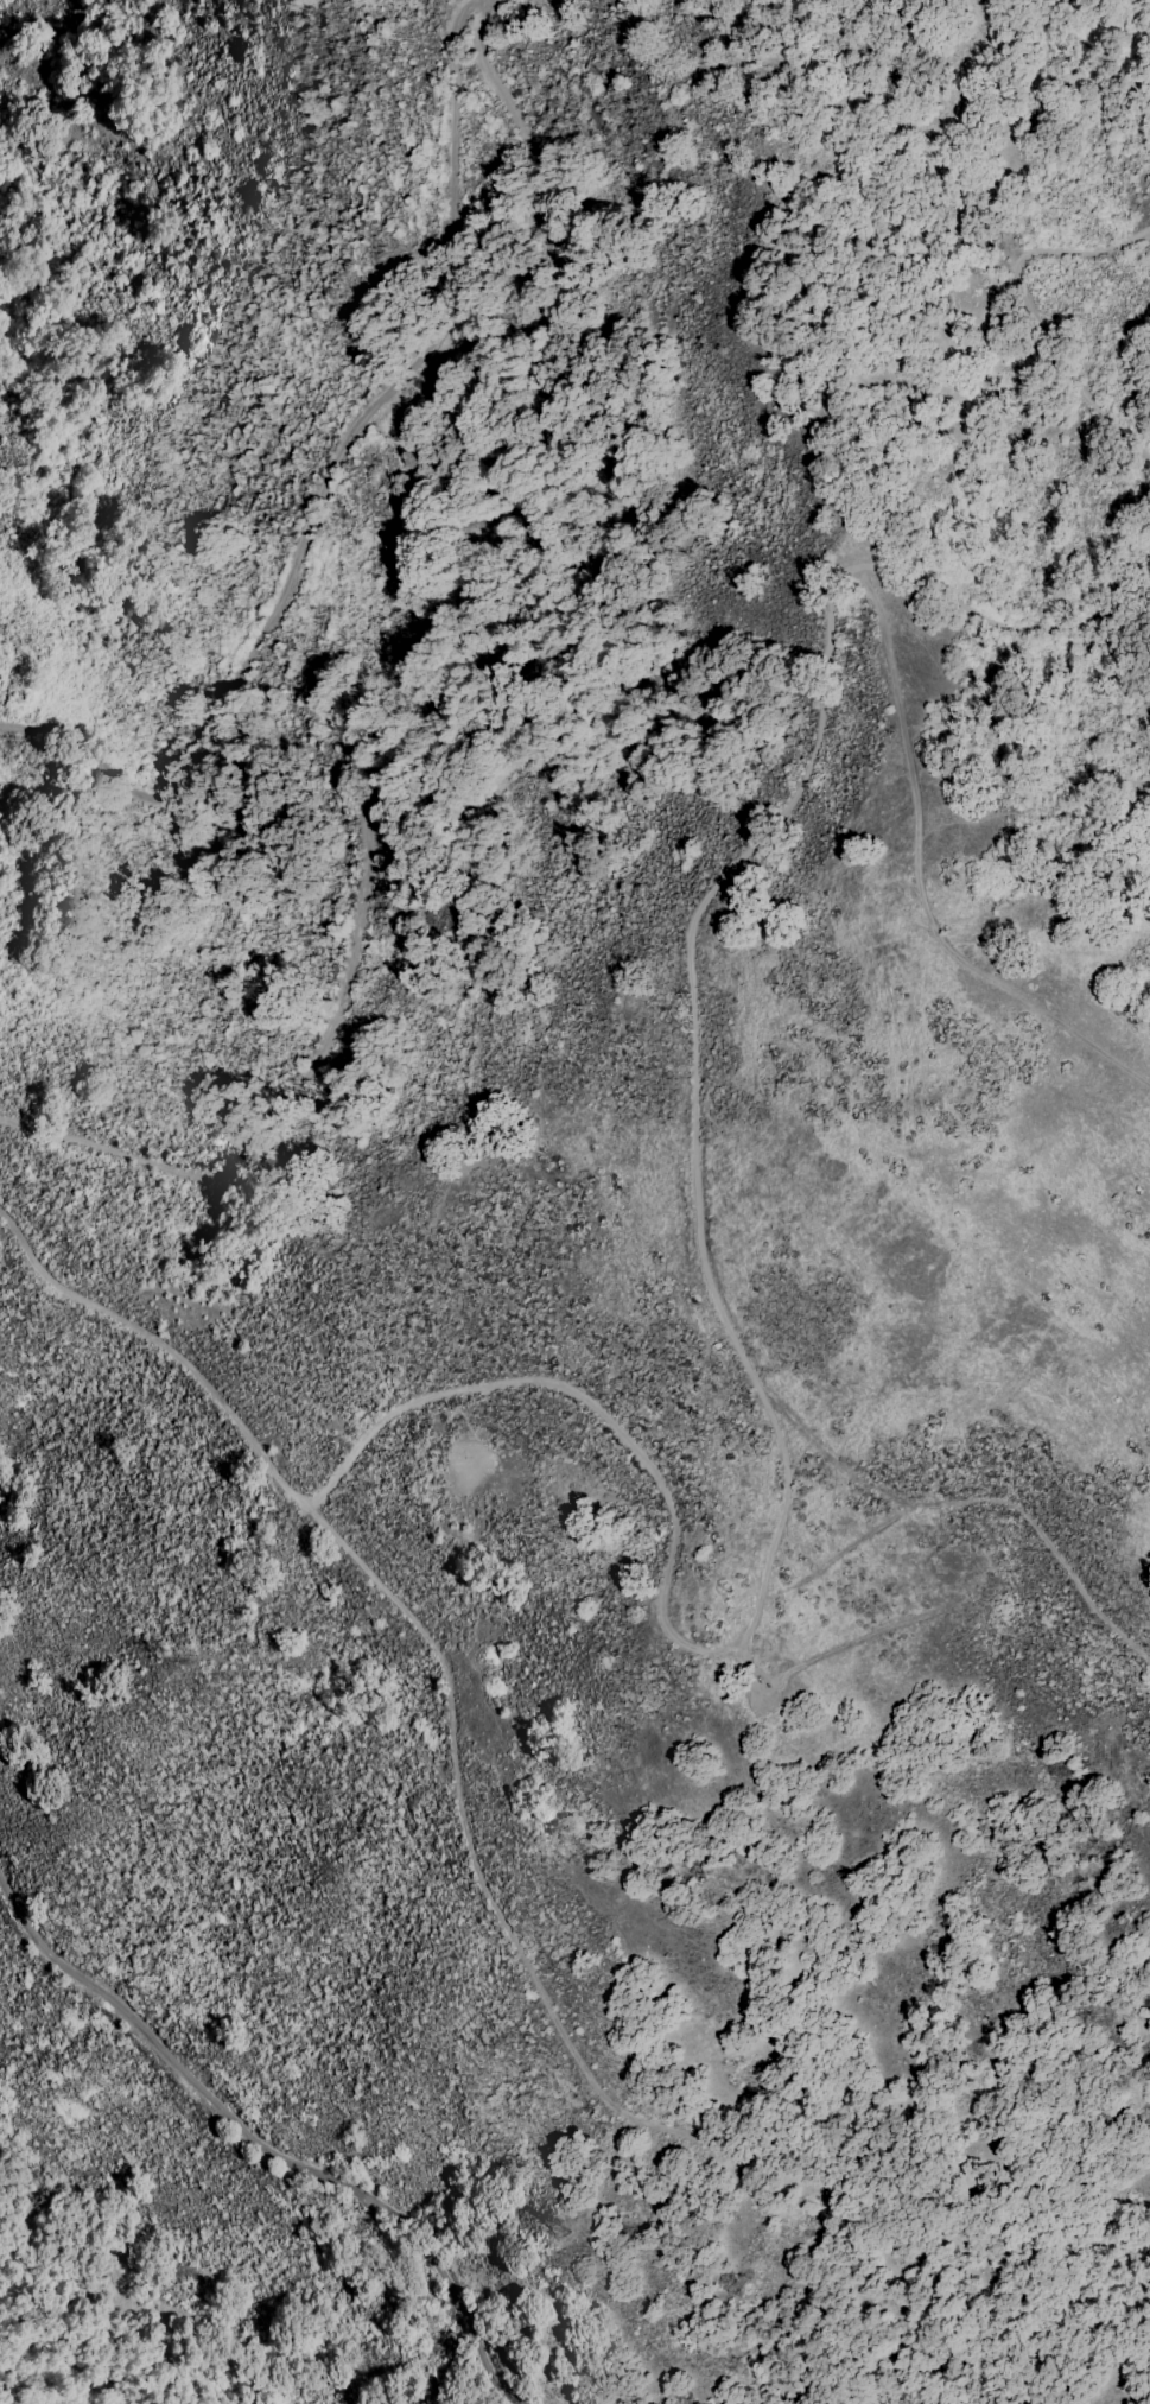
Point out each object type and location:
power tower: (172, 1661)
road: (260, 2139)
power tower: (565, 2229)

